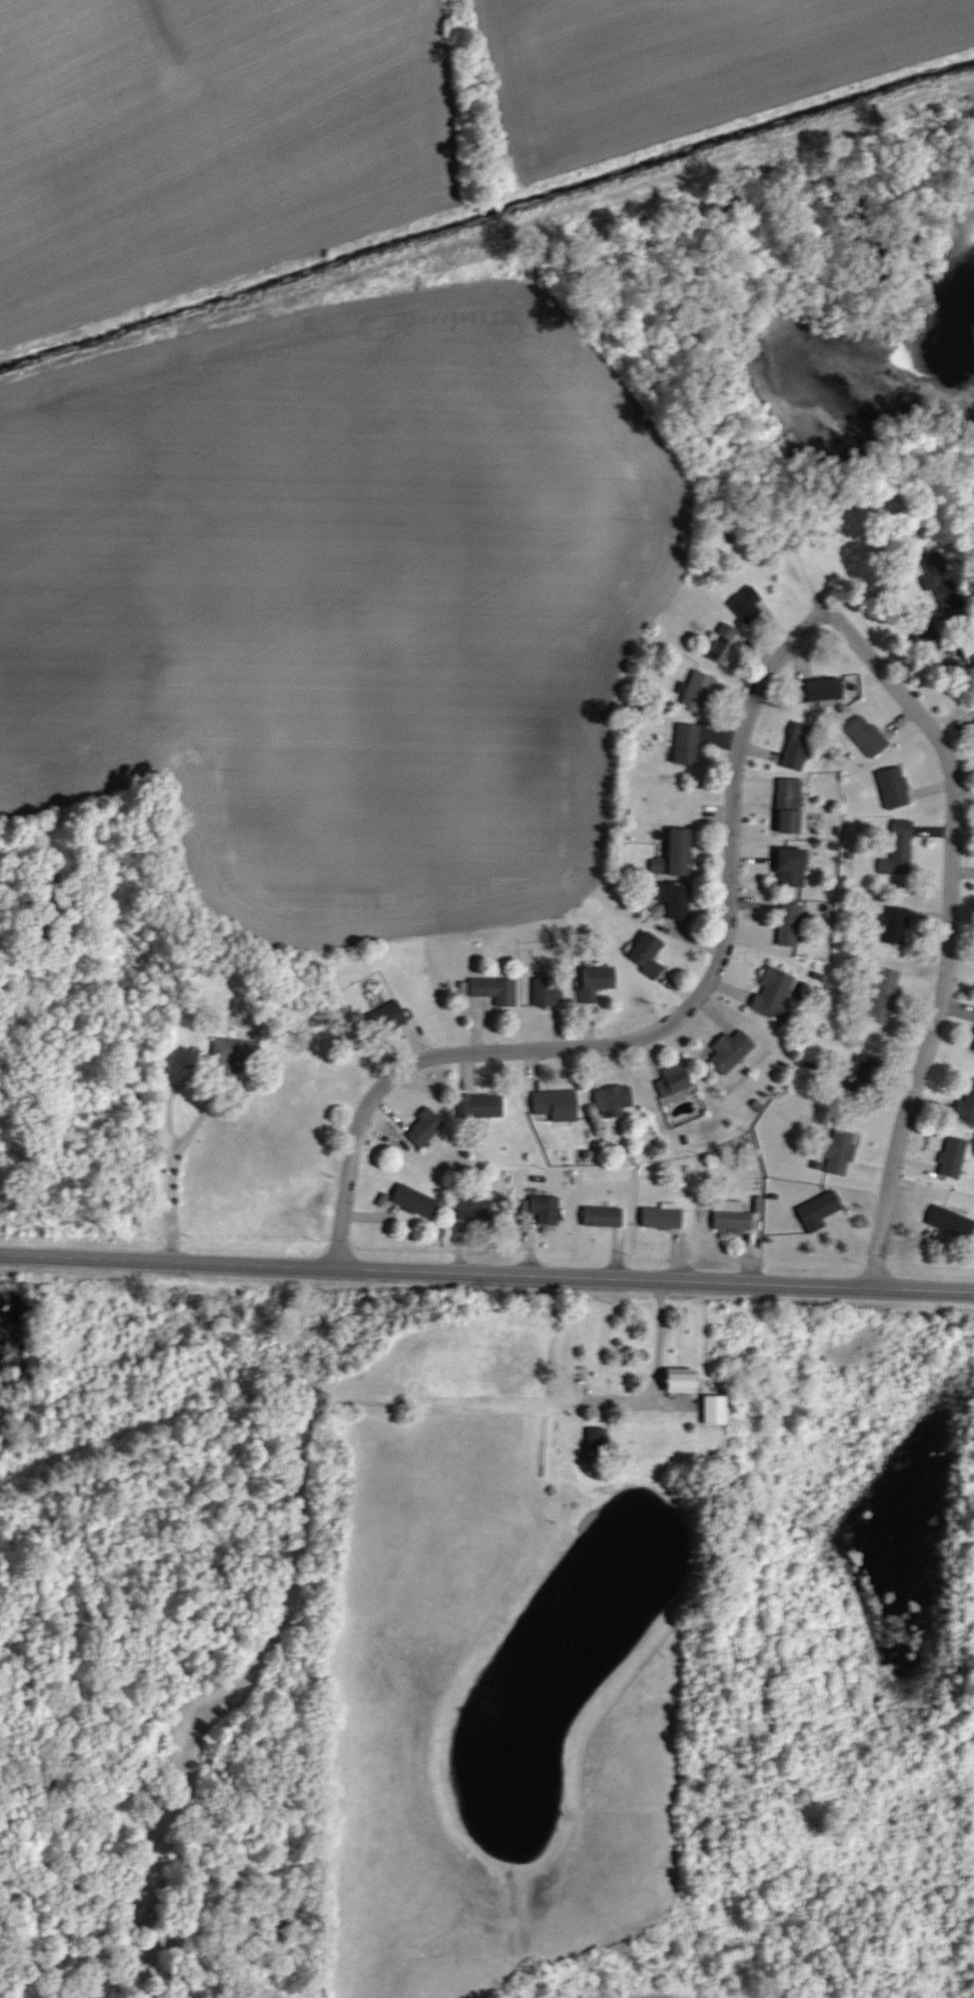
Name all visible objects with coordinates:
building: (745, 605)
building: (720, 644)
building: (815, 690)
building: (695, 692)
building: (863, 735)
building: (682, 744)
building: (795, 746)
building: (890, 787)
building: (785, 805)
building: (899, 845)
building: (674, 851)
building: (787, 866)
building: (670, 899)
building: (787, 924)
building: (892, 924)
road: (948, 930)
building: (643, 953)
building: (592, 981)
building: (492, 989)
building: (544, 990)
building: (771, 992)
building: (880, 995)
building: (382, 1016)
road: (648, 1039)
building: (973, 1046)
building: (225, 1050)
building: (727, 1051)
building: (670, 1079)
road: (174, 1082)
building: (611, 1097)
building: (553, 1104)
building: (964, 1104)
building: (479, 1105)
building: (421, 1127)
building: (834, 1151)
building: (949, 1156)
building: (412, 1200)
building: (541, 1207)
building: (471, 1209)
building: (814, 1210)
road: (169, 1211)
building: (598, 1216)
building: (658, 1218)
building: (731, 1221)
building: (947, 1221)
road: (487, 1279)
road: (653, 1377)
building: (674, 1380)
building: (710, 1409)

